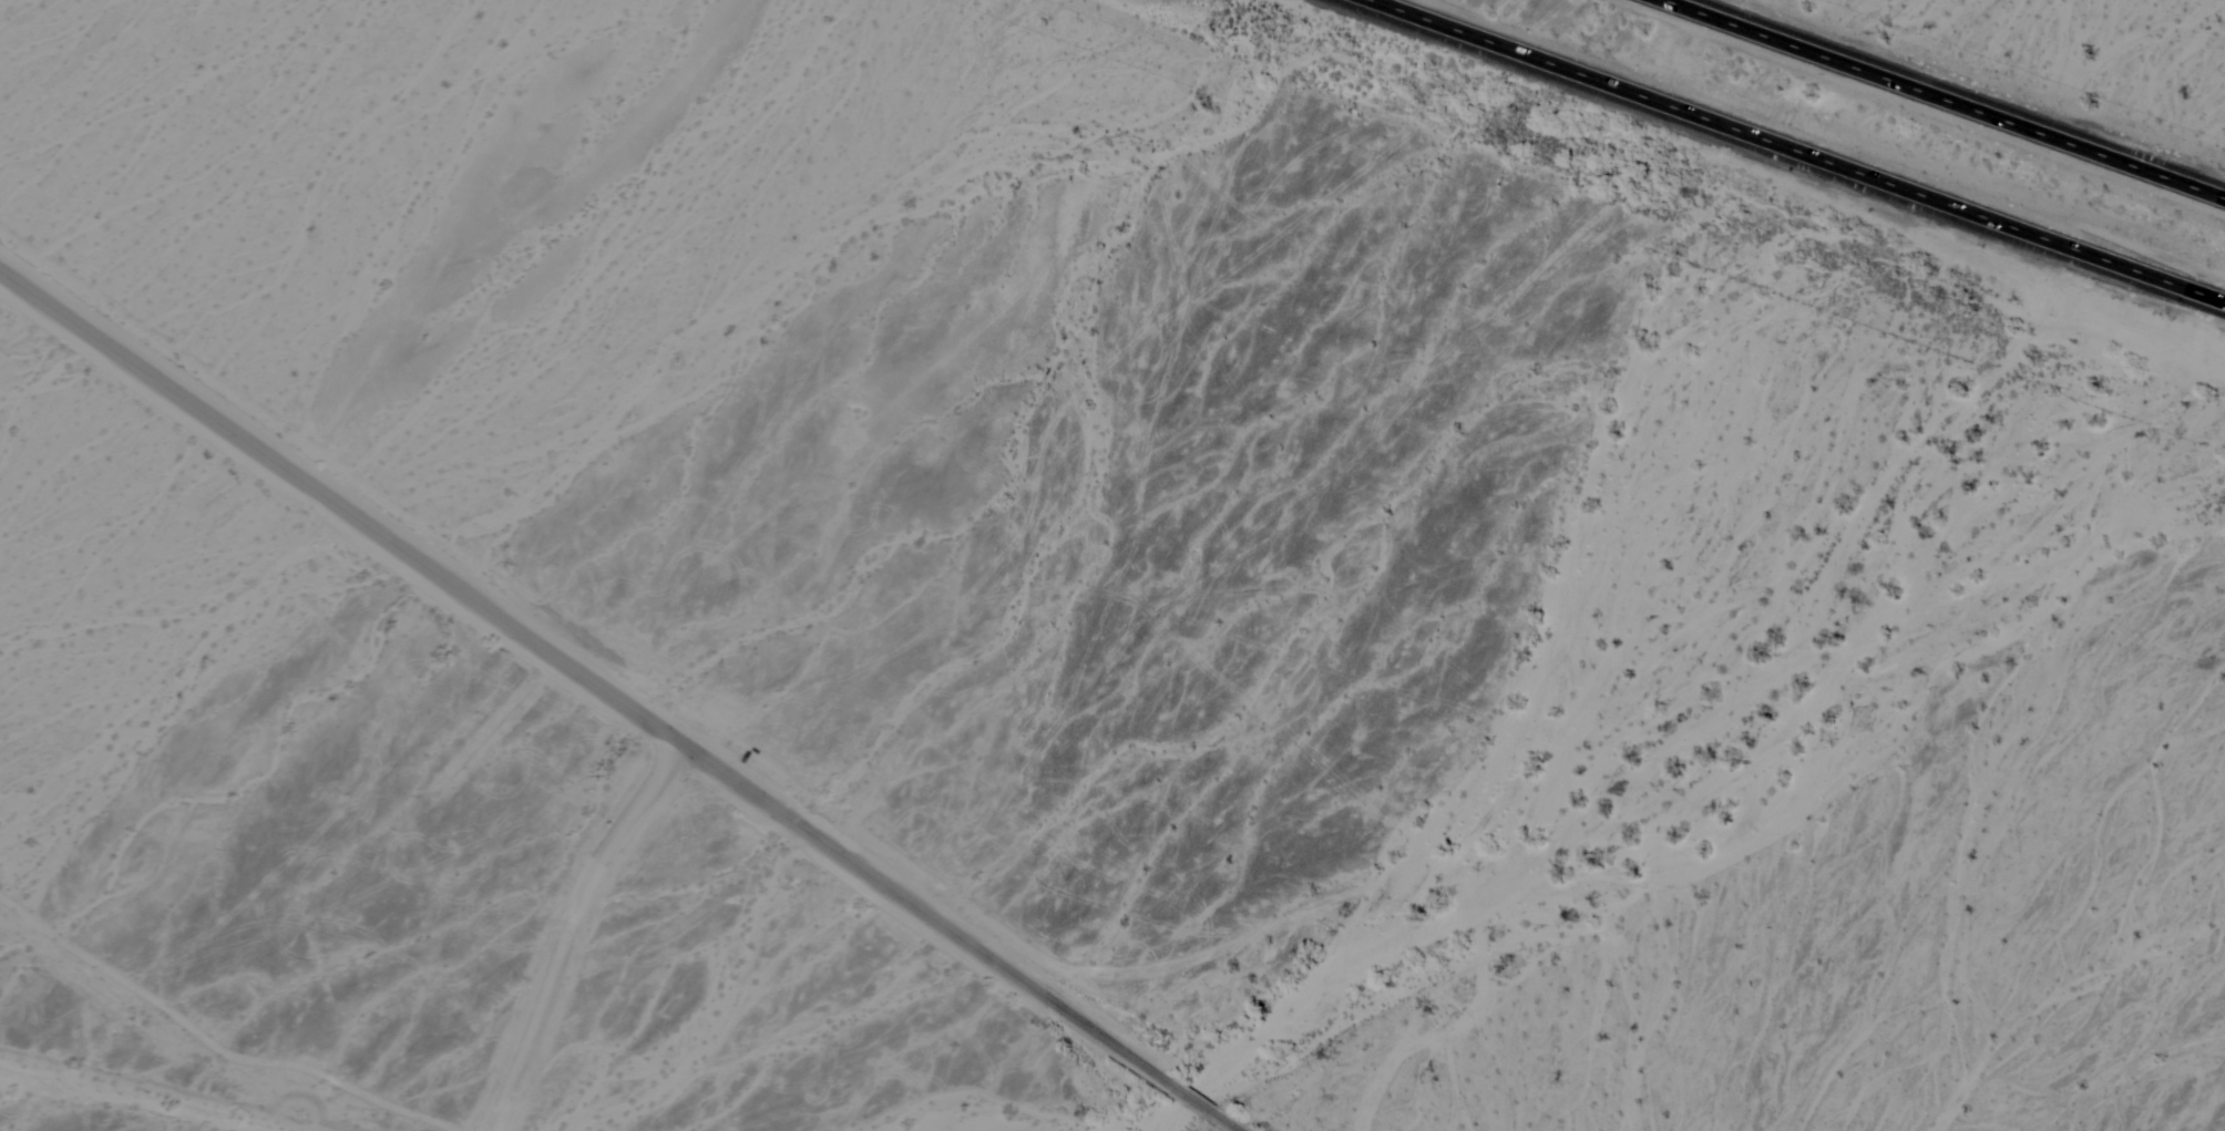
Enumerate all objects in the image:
road: (1951, 96)
road: (1811, 146)
road: (582, 675)
road: (561, 927)
road: (1188, 1097)
road: (1223, 1122)

